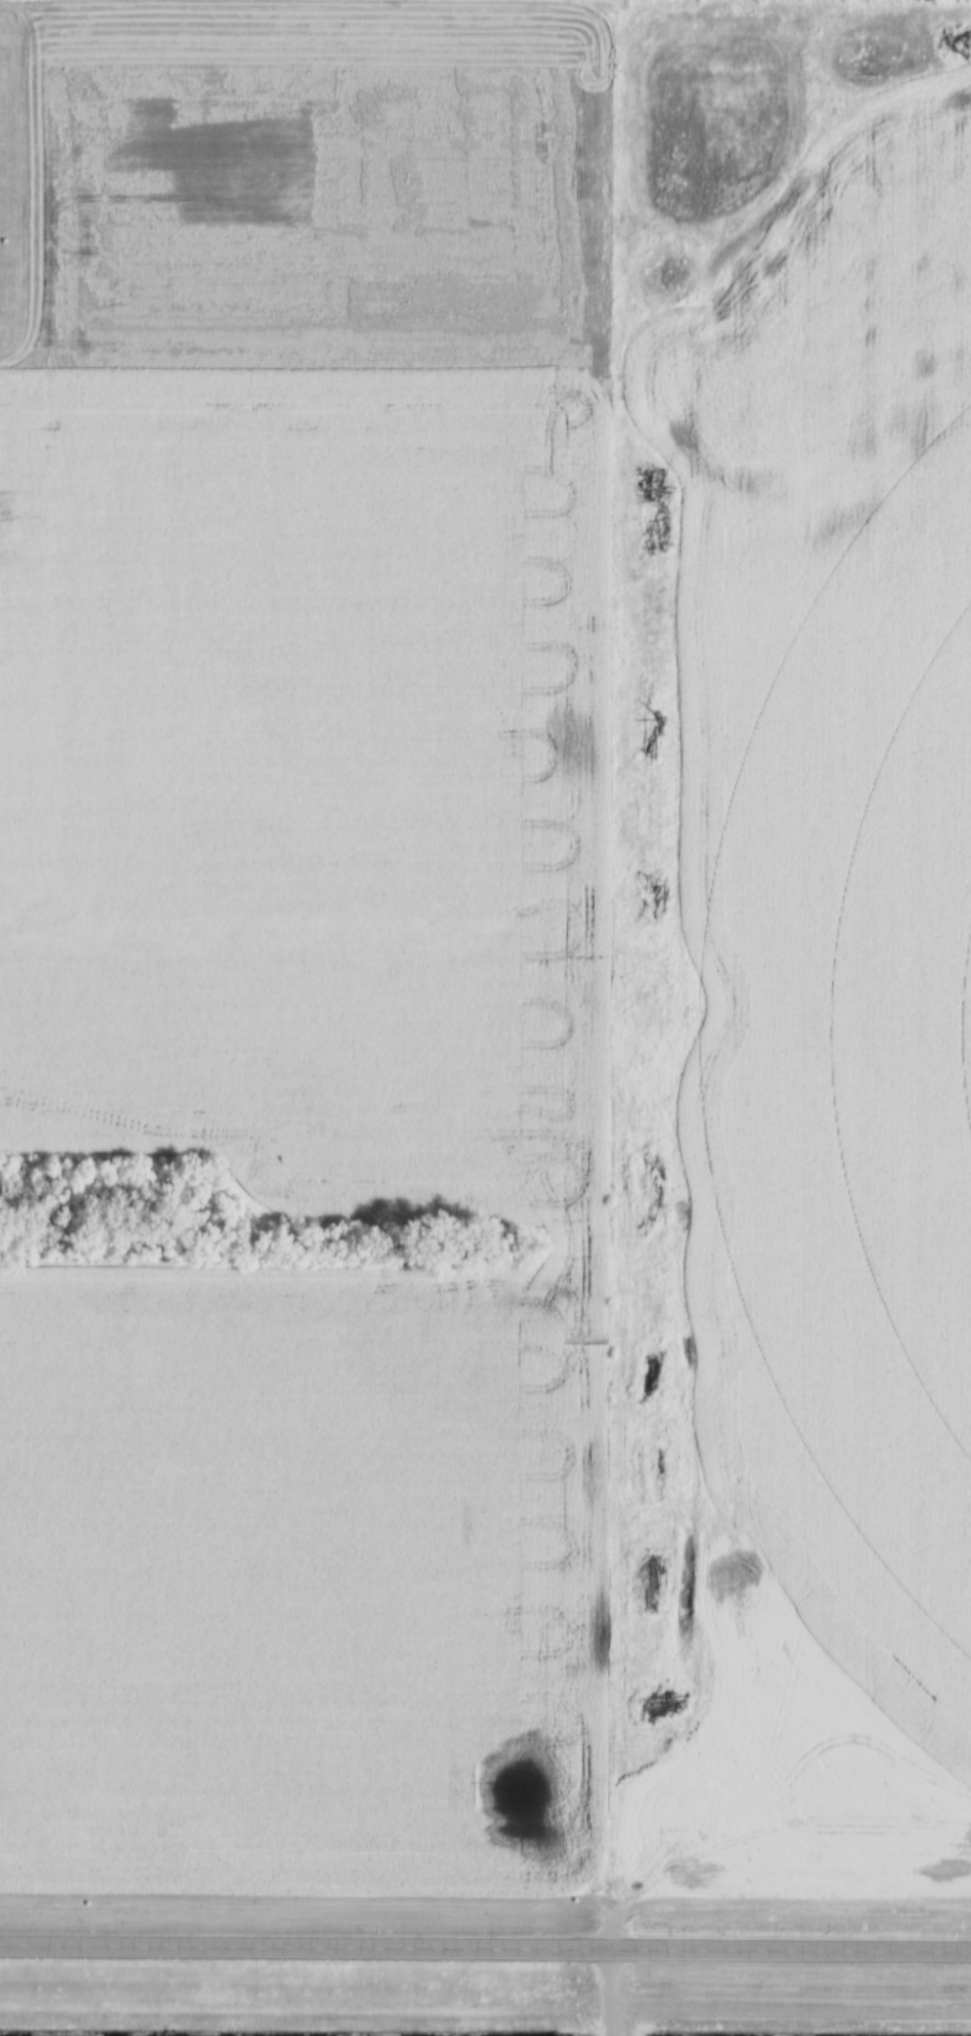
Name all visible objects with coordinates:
road: (485, 1952)

